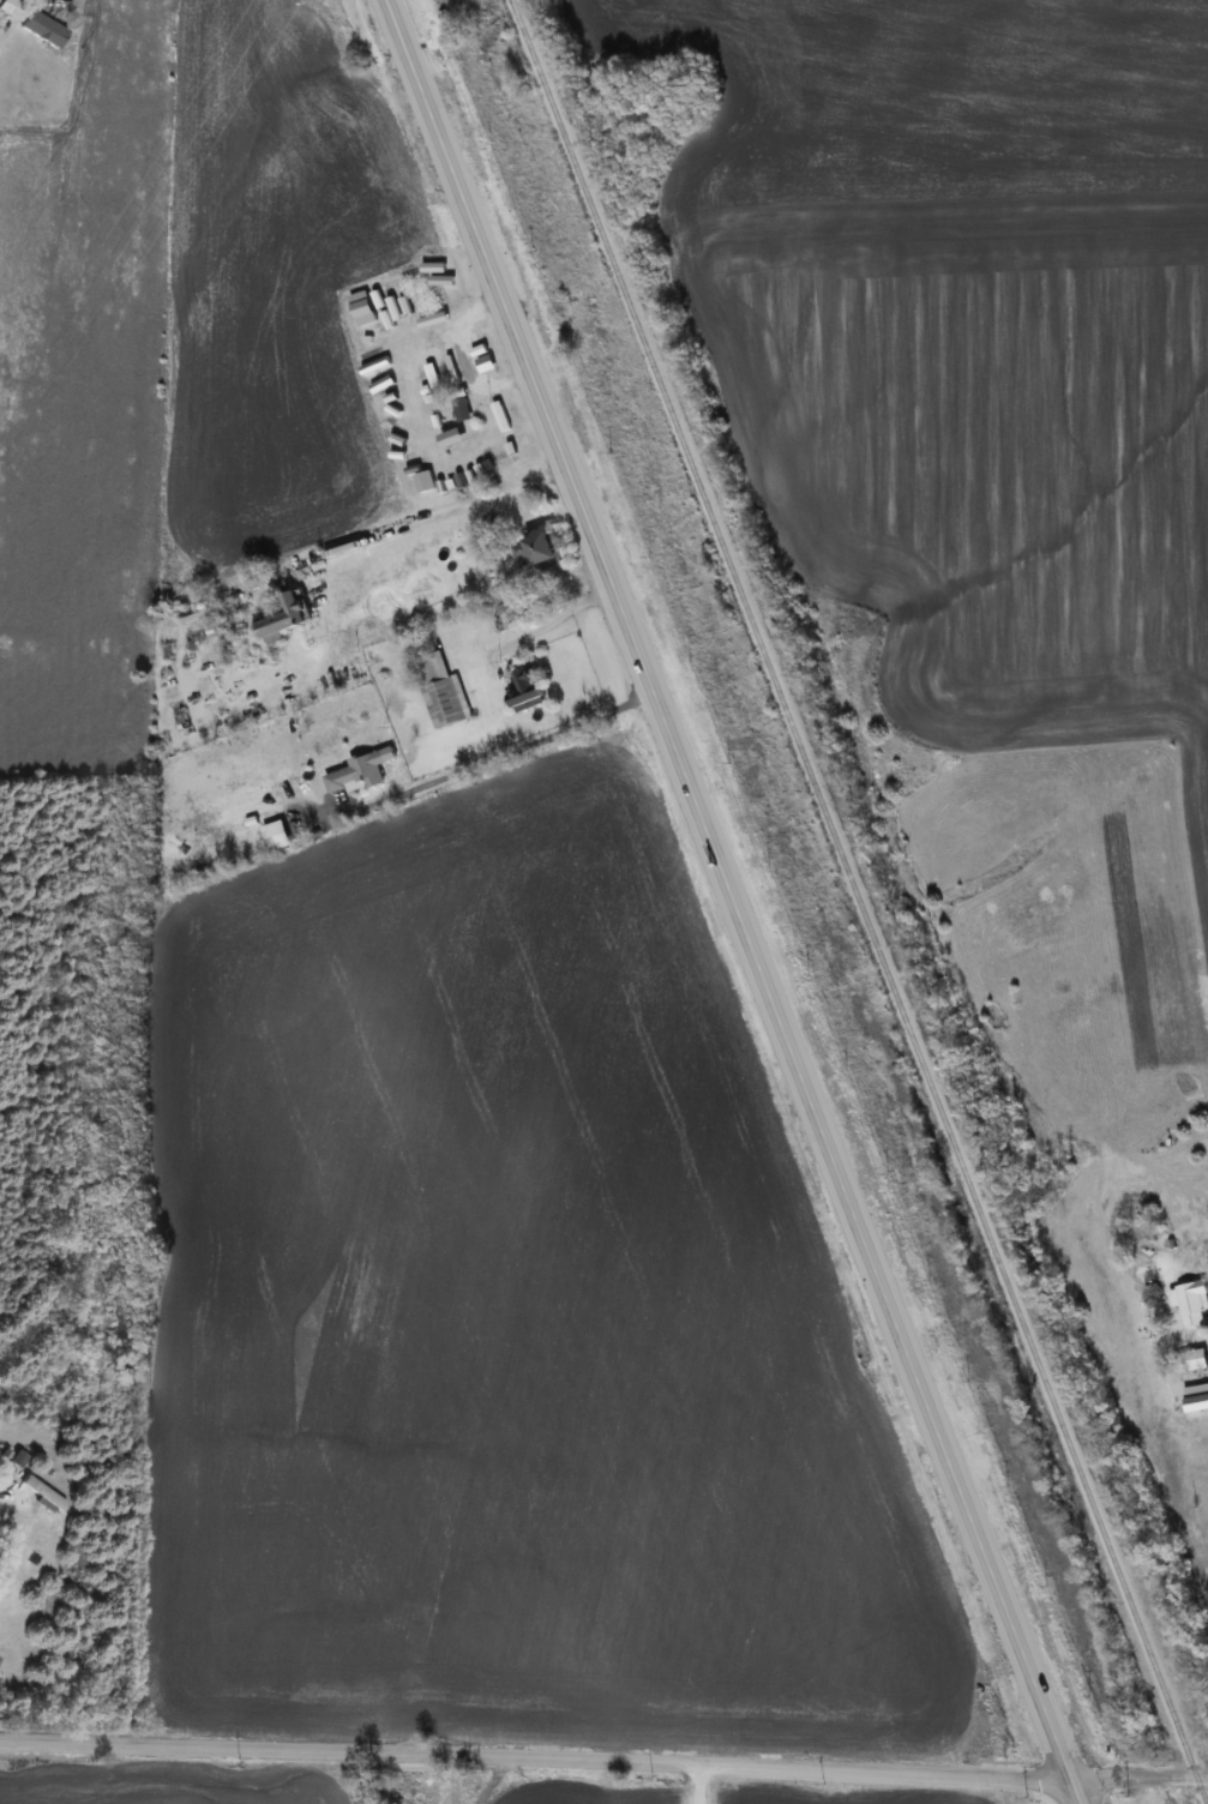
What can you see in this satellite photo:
building: (12, 7)
building: (43, 28)
road: (5, 31)
building: (458, 373)
road: (449, 505)
building: (540, 552)
building: (509, 613)
building: (283, 617)
road: (553, 618)
building: (524, 690)
building: (441, 692)
road: (512, 741)
building: (357, 771)
road: (727, 889)
railway: (859, 901)
building: (1189, 1300)
building: (1190, 1359)
building: (19, 1457)
building: (42, 1491)
road: (534, 1754)
road: (495, 1778)
road: (1138, 1778)
road: (698, 1784)
road: (1072, 1791)

